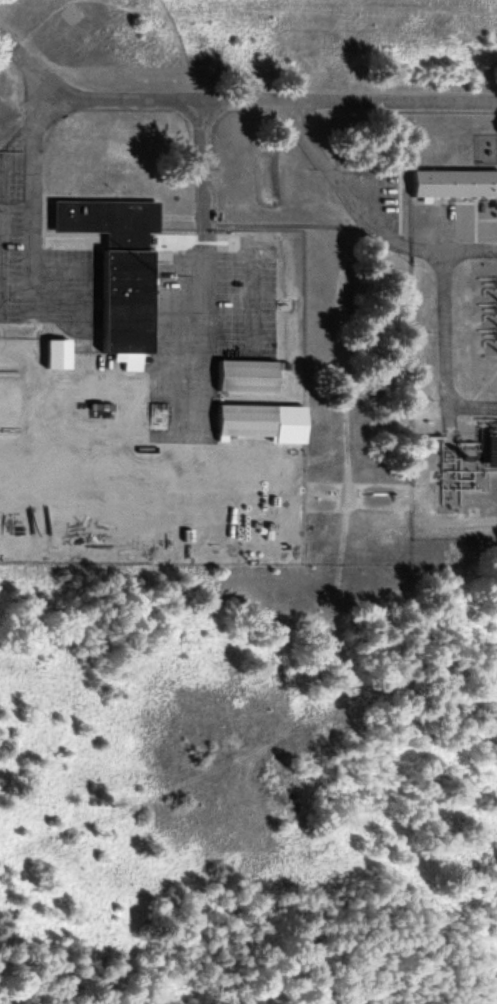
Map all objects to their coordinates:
road: (238, 113)
building: (451, 185)
building: (115, 271)
building: (54, 355)
building: (243, 376)
building: (256, 424)
building: (487, 451)

